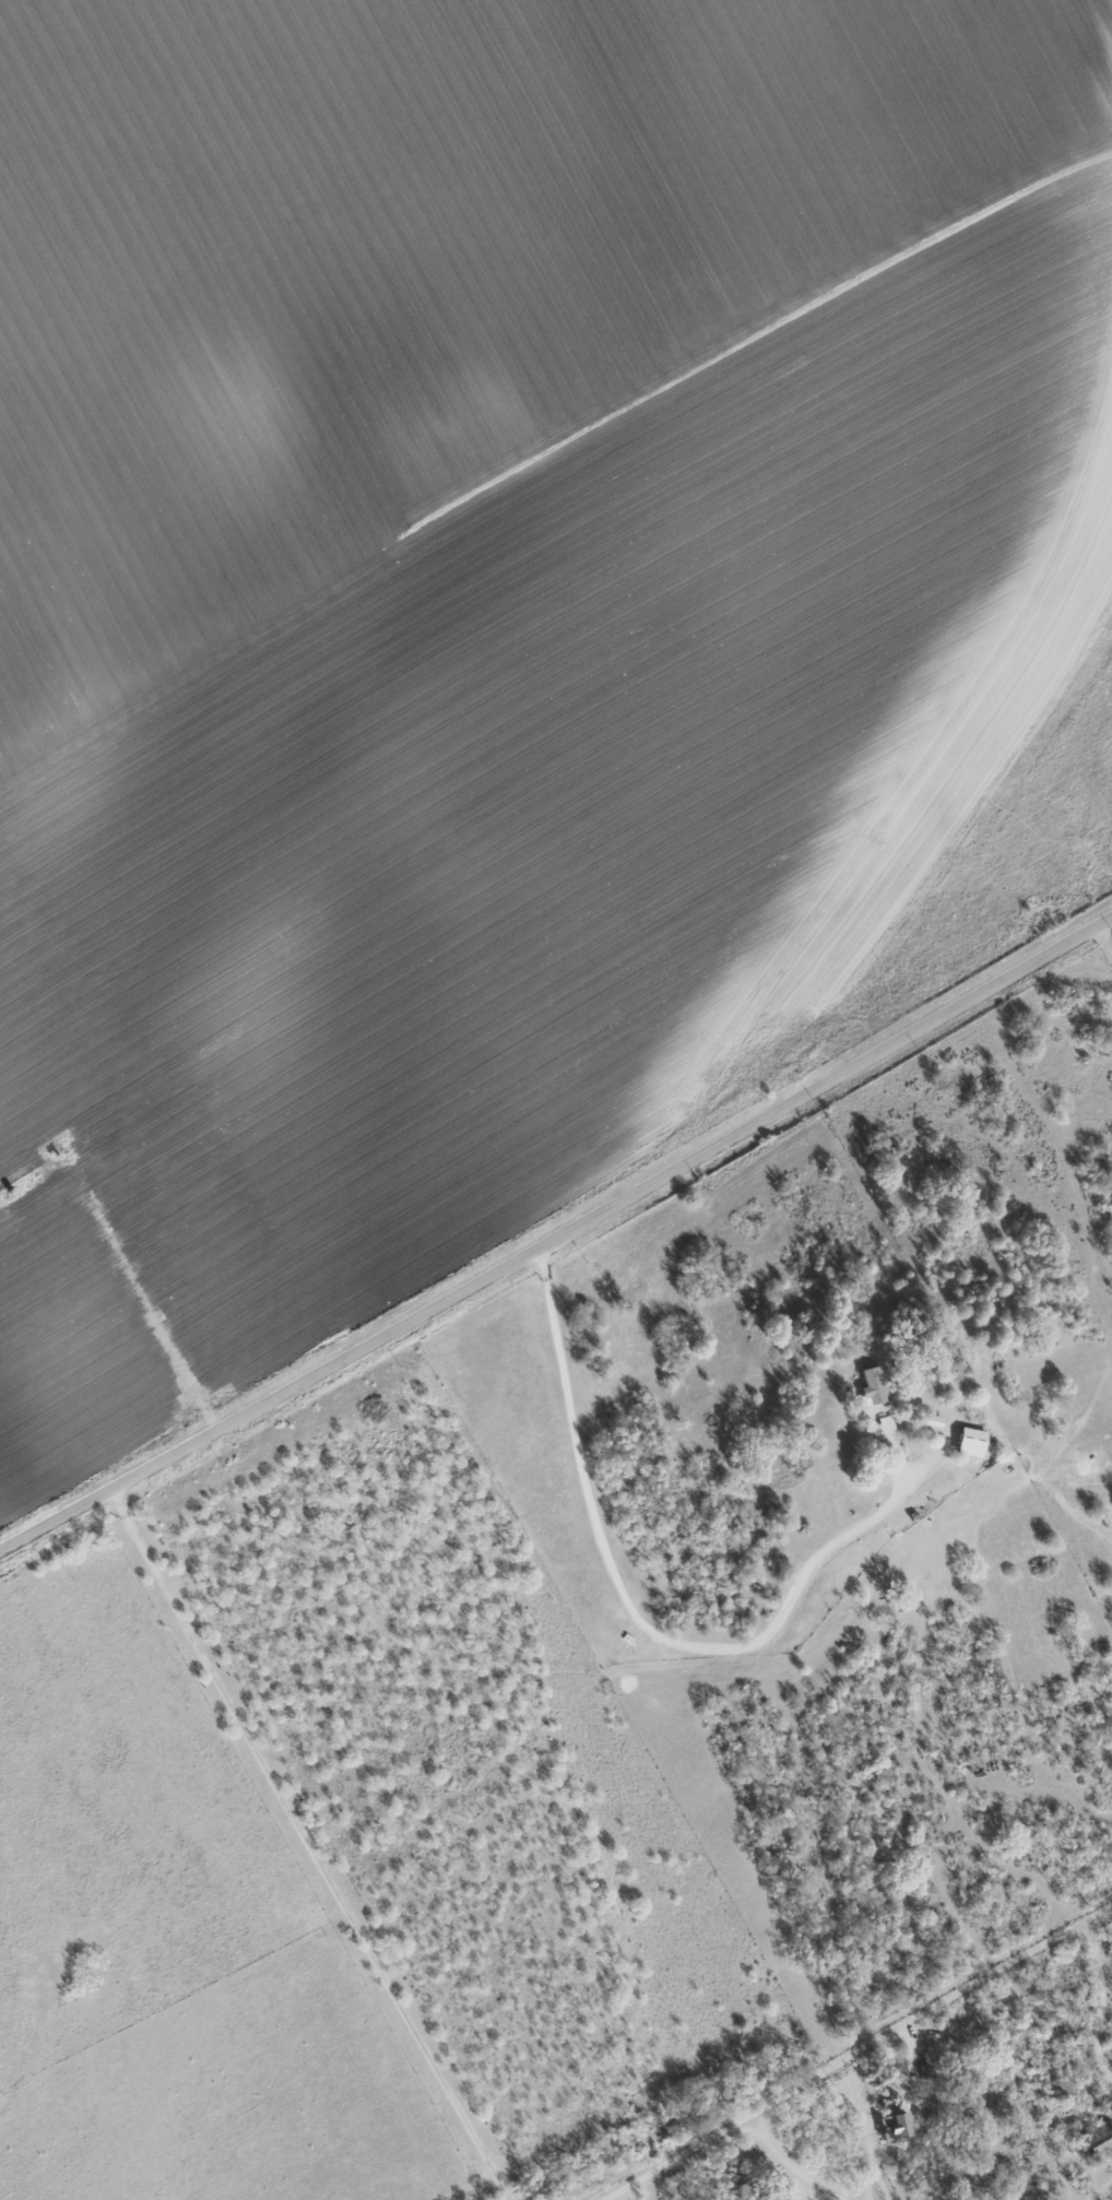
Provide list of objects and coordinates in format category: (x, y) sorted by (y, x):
road: (557, 1234)
building: (872, 1387)
building: (885, 1424)
building: (970, 1443)
road: (628, 1610)
road: (306, 1844)
road: (744, 2117)
building: (897, 2126)

